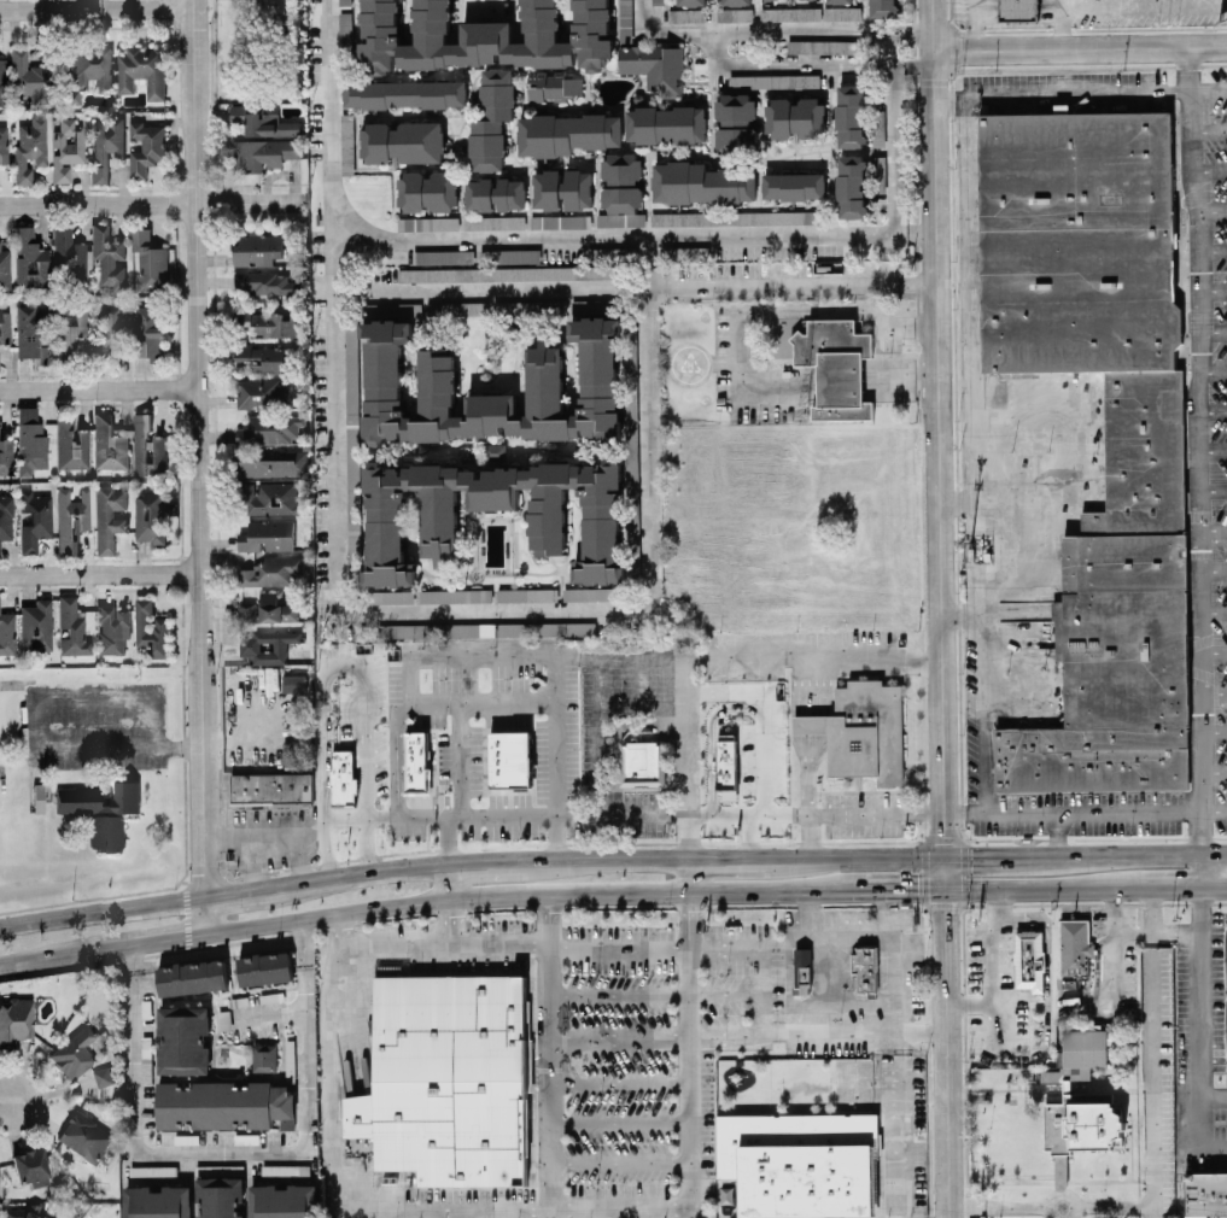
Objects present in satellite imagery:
building: (658, 0)
building: (840, 0)
building: (344, 1)
building: (736, 1)
building: (691, 2)
road: (95, 7)
building: (881, 7)
building: (625, 8)
building: (1018, 11)
building: (841, 12)
building: (734, 13)
building: (790, 13)
road: (641, 14)
building: (684, 14)
road: (971, 24)
road: (1058, 24)
road: (679, 30)
road: (826, 30)
building: (484, 36)
building: (819, 46)
road: (717, 47)
road: (1079, 48)
road: (913, 58)
road: (888, 65)
building: (654, 66)
building: (142, 70)
building: (89, 71)
building: (31, 77)
building: (773, 80)
building: (2, 82)
building: (551, 84)
building: (404, 93)
road: (951, 96)
building: (849, 115)
building: (794, 117)
building: (491, 118)
building: (263, 119)
building: (735, 122)
building: (665, 123)
road: (1209, 129)
building: (566, 133)
building: (402, 141)
building: (346, 142)
building: (4, 145)
building: (105, 145)
building: (145, 147)
building: (30, 148)
building: (66, 148)
building: (263, 152)
road: (1209, 169)
building: (877, 172)
building: (701, 182)
building: (793, 185)
building: (852, 186)
building: (547, 188)
building: (578, 188)
building: (427, 191)
building: (620, 191)
building: (495, 193)
road: (246, 201)
road: (97, 204)
road: (1213, 209)
building: (672, 218)
building: (493, 221)
building: (560, 221)
building: (431, 222)
road: (915, 229)
road: (615, 235)
building: (257, 248)
road: (1213, 248)
building: (684, 252)
building: (69, 254)
building: (509, 254)
building: (109, 256)
building: (443, 256)
building: (30, 258)
building: (150, 259)
building: (5, 269)
building: (510, 273)
building: (264, 282)
road: (636, 287)
road: (1213, 288)
road: (338, 305)
building: (467, 308)
road: (763, 308)
building: (269, 322)
road: (971, 324)
building: (5, 327)
building: (107, 329)
building: (69, 330)
building: (148, 330)
road: (1214, 330)
building: (31, 333)
building: (629, 334)
building: (350, 342)
road: (889, 351)
building: (264, 357)
helipad: (689, 363)
building: (836, 363)
road: (1213, 369)
building: (382, 370)
road: (900, 380)
road: (98, 388)
building: (261, 392)
road: (1210, 409)
road: (644, 422)
building: (270, 428)
building: (630, 431)
building: (1145, 439)
building: (30, 440)
building: (71, 444)
building: (109, 444)
building: (147, 447)
road: (1211, 447)
building: (493, 449)
road: (1196, 449)
building: (352, 456)
building: (6, 457)
building: (275, 464)
road: (198, 465)
road: (1211, 486)
road: (1065, 487)
building: (270, 497)
road: (956, 499)
building: (150, 516)
building: (6, 517)
building: (109, 517)
building: (71, 519)
building: (35, 520)
building: (632, 522)
road: (1211, 527)
building: (601, 532)
building: (267, 535)
building: (274, 570)
road: (1213, 572)
road: (100, 574)
building: (588, 592)
building: (524, 593)
building: (455, 595)
building: (393, 596)
building: (276, 608)
road: (939, 609)
building: (246, 610)
road: (1213, 610)
road: (495, 611)
road: (957, 613)
building: (36, 626)
building: (151, 627)
building: (112, 628)
building: (486, 628)
building: (7, 633)
building: (265, 645)
road: (1213, 650)
road: (689, 655)
road: (344, 657)
road: (407, 658)
building: (293, 683)
road: (42, 686)
road: (1213, 690)
road: (483, 702)
road: (641, 704)
road: (764, 718)
building: (861, 730)
road: (1214, 730)
road: (806, 734)
road: (711, 737)
road: (180, 746)
building: (298, 751)
road: (684, 756)
building: (509, 757)
road: (460, 759)
building: (416, 760)
building: (642, 761)
building: (726, 763)
road: (1214, 771)
building: (341, 778)
building: (271, 786)
building: (37, 797)
road: (1093, 809)
road: (1214, 809)
building: (101, 810)
road: (964, 810)
road: (875, 812)
road: (682, 813)
road: (264, 828)
traffic signals: (946, 831)
road: (1058, 831)
road: (749, 835)
road: (807, 836)
road: (557, 837)
road: (1143, 837)
road: (942, 838)
road: (1013, 838)
road: (445, 839)
road: (471, 845)
road: (1137, 850)
traffic signals: (970, 853)
road: (995, 853)
road: (299, 854)
road: (861, 855)
road: (732, 857)
road: (255, 859)
road: (610, 859)
road: (491, 862)
road: (1202, 867)
road: (924, 871)
road: (963, 871)
road: (357, 872)
road: (686, 874)
road: (446, 880)
road: (1041, 884)
road: (1169, 884)
road: (1214, 884)
road: (895, 886)
traffic signals: (917, 886)
road: (676, 891)
road: (238, 892)
road: (477, 895)
road: (163, 903)
road: (943, 903)
road: (1097, 903)
road: (686, 907)
road: (460, 909)
traffic signals: (947, 910)
road: (810, 913)
road: (1152, 915)
road: (327, 917)
road: (62, 919)
road: (448, 919)
road: (1114, 927)
road: (842, 936)
road: (170, 938)
road: (440, 939)
building: (1074, 950)
road: (617, 953)
road: (66, 954)
road: (763, 955)
building: (1029, 958)
building: (801, 965)
building: (264, 967)
building: (865, 968)
building: (192, 977)
building: (1226, 984)
road: (617, 994)
road: (725, 995)
building: (14, 1021)
road: (1202, 1026)
road: (817, 1032)
building: (183, 1038)
road: (617, 1040)
building: (76, 1052)
building: (263, 1056)
road: (337, 1068)
building: (103, 1076)
building: (448, 1078)
road: (617, 1082)
road: (1155, 1082)
road: (1214, 1090)
building: (1080, 1102)
road: (8, 1105)
building: (224, 1105)
road: (618, 1123)
road: (900, 1125)
building: (84, 1136)
road: (226, 1150)
road: (618, 1161)
building: (799, 1161)
building: (30, 1166)
building: (152, 1170)
road: (1063, 1191)
building: (1205, 1193)
building: (218, 1196)
building: (282, 1200)
building: (156, 1201)
road: (1000, 1205)
road: (1116, 1205)
road: (606, 1207)
building: (22, 1212)

